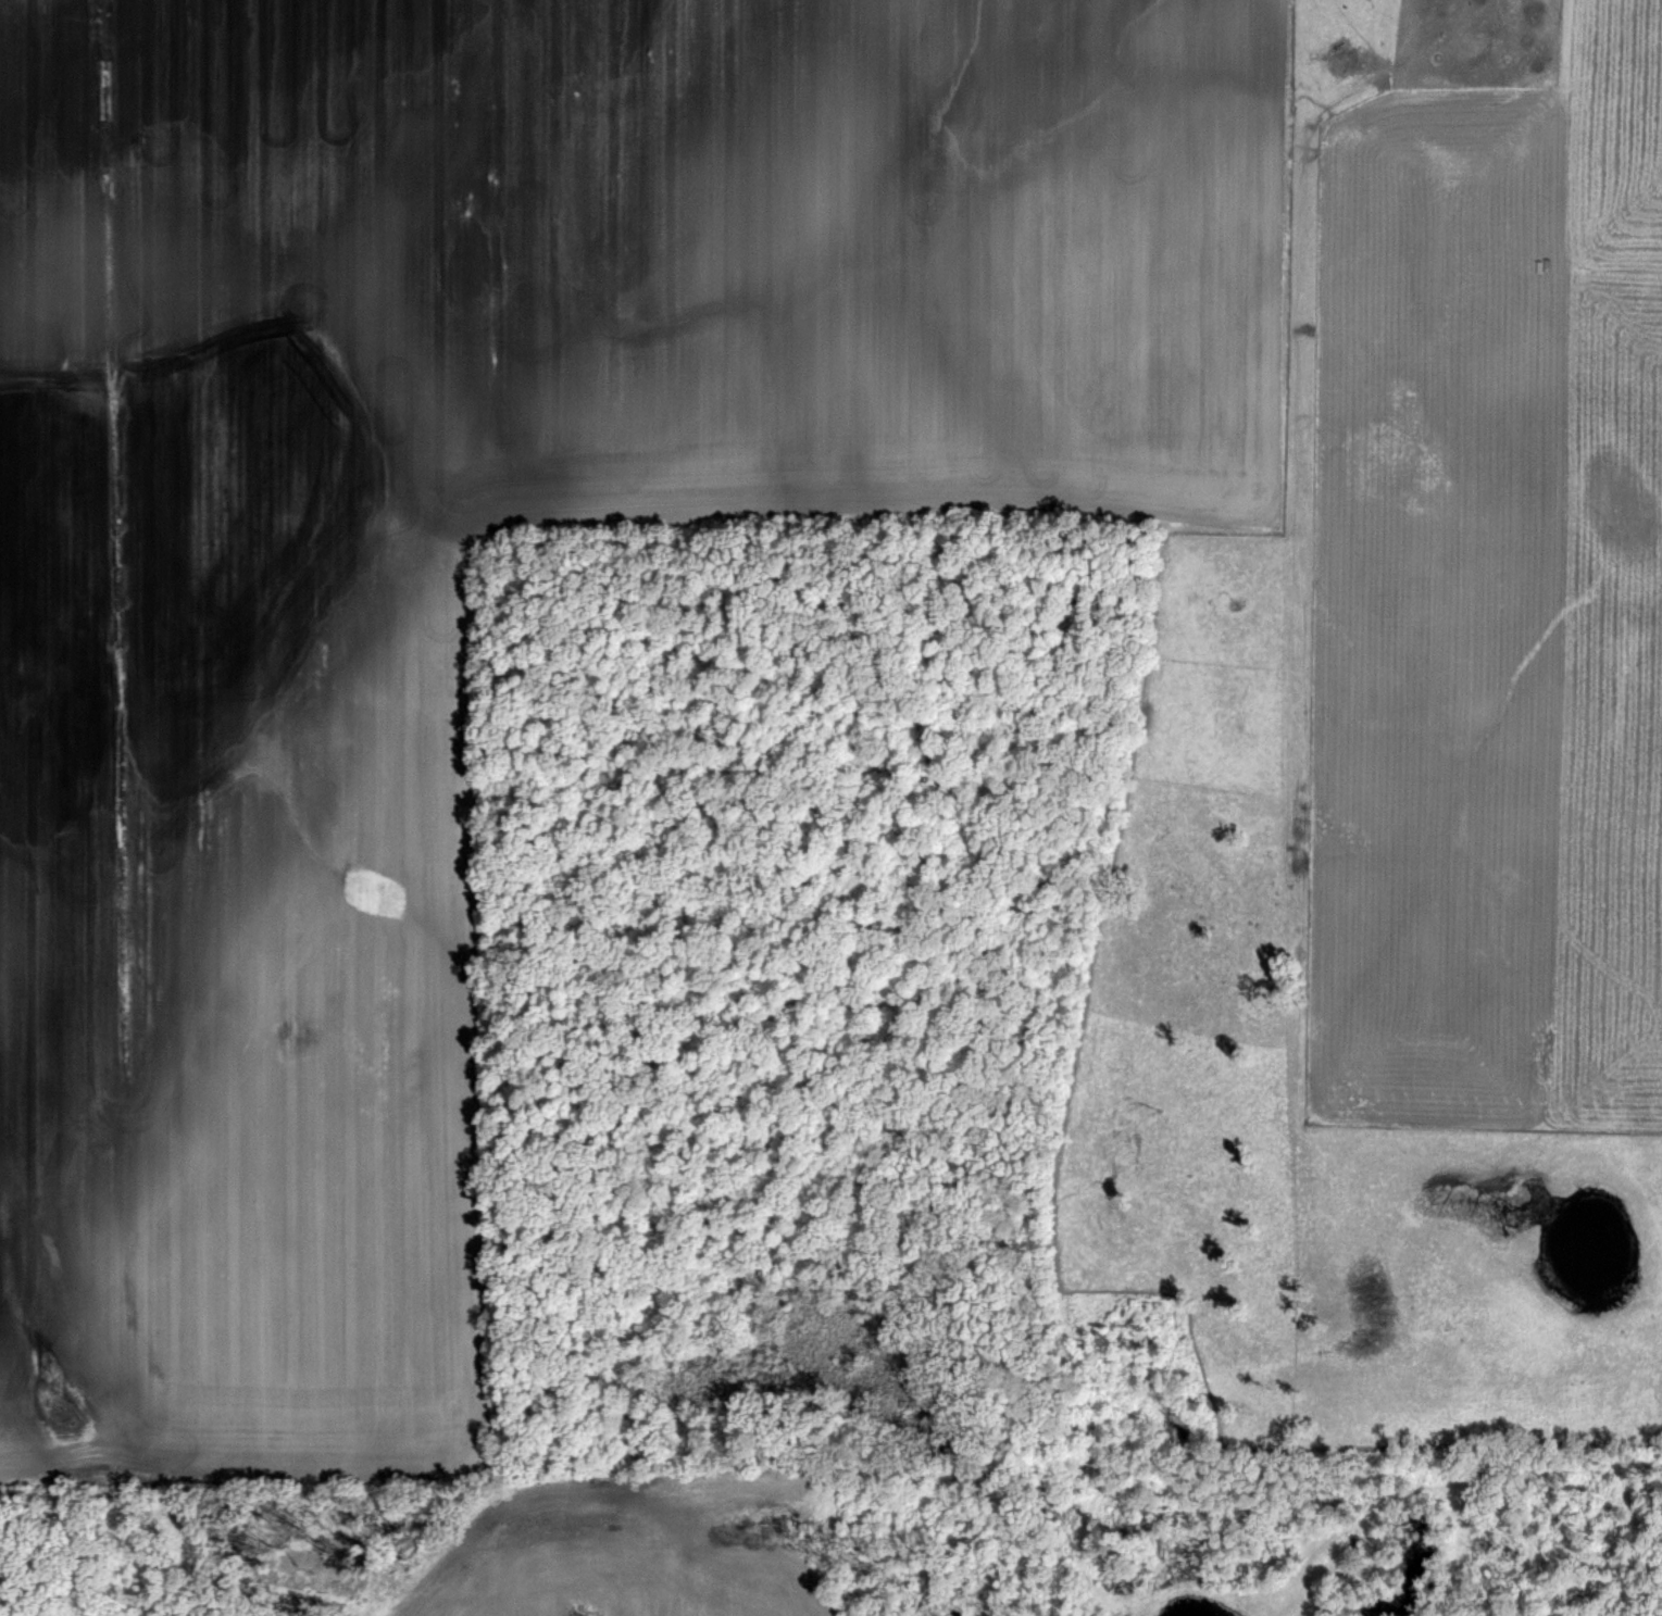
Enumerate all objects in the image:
crop: (830, 807)

